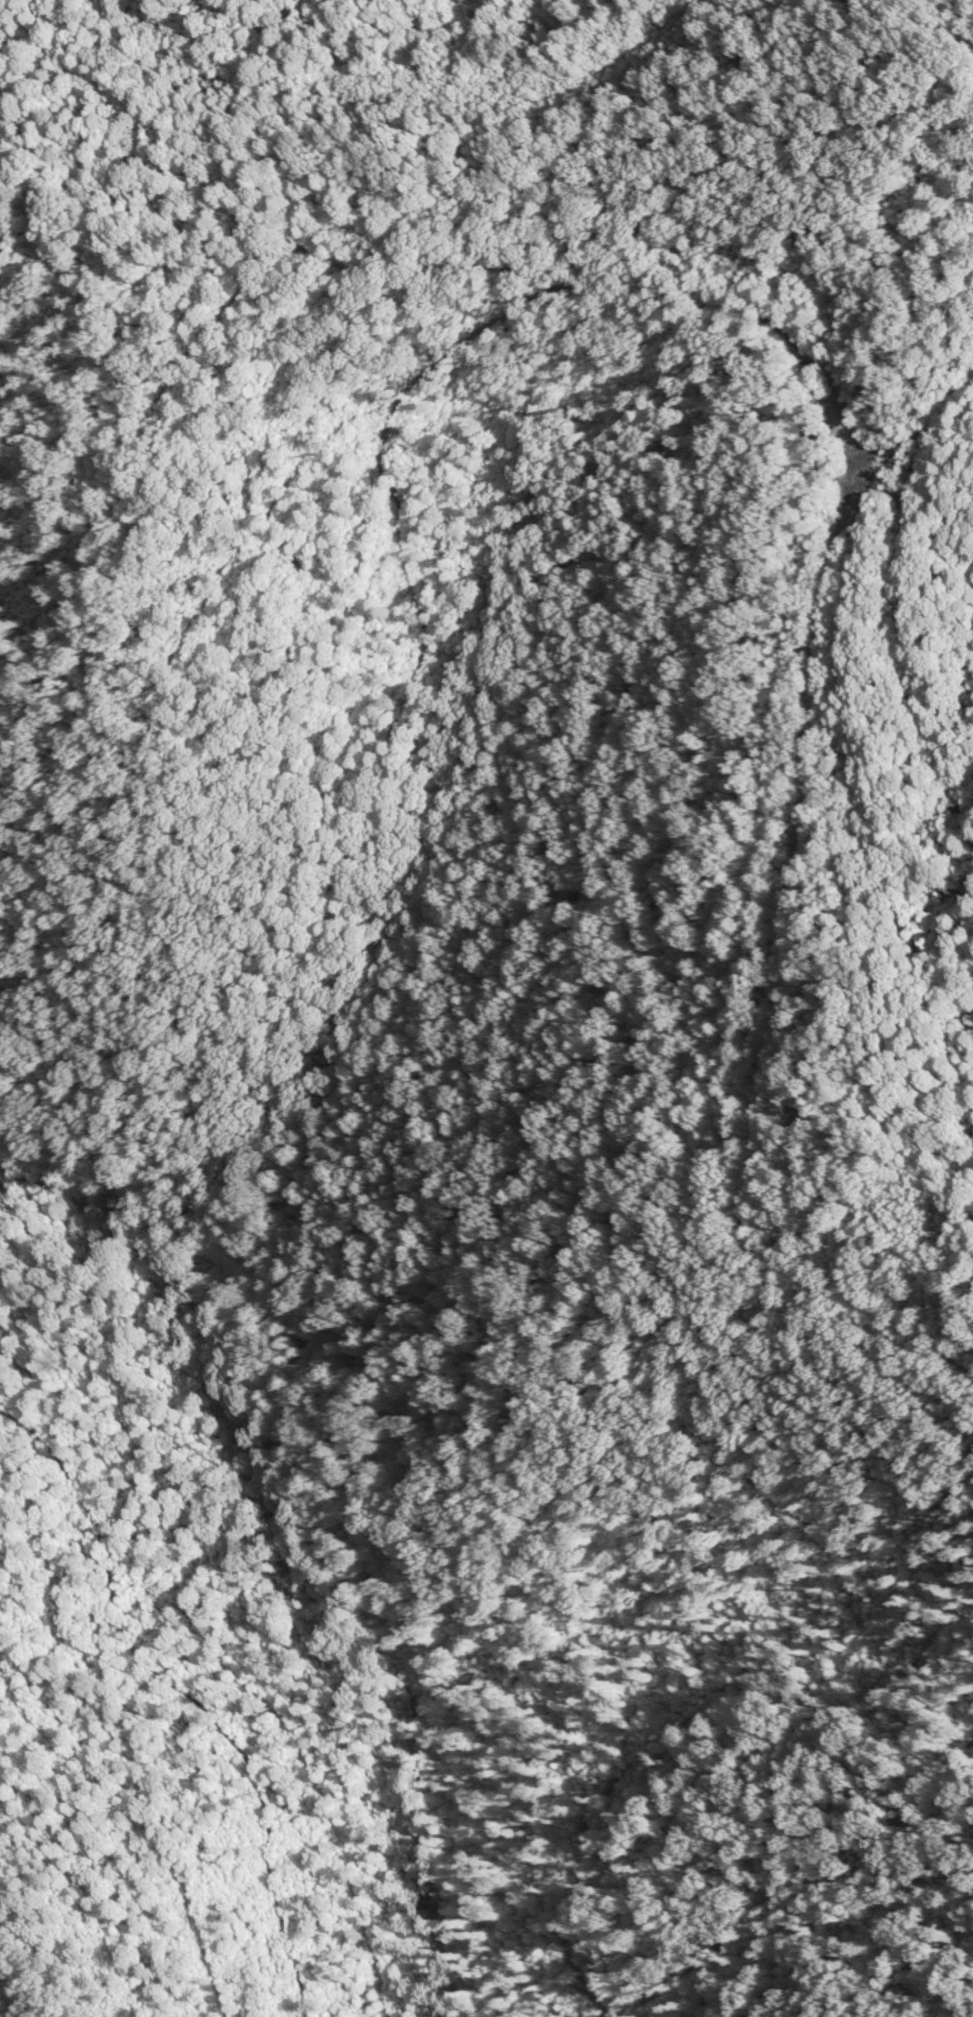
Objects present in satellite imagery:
road: (806, 412)

